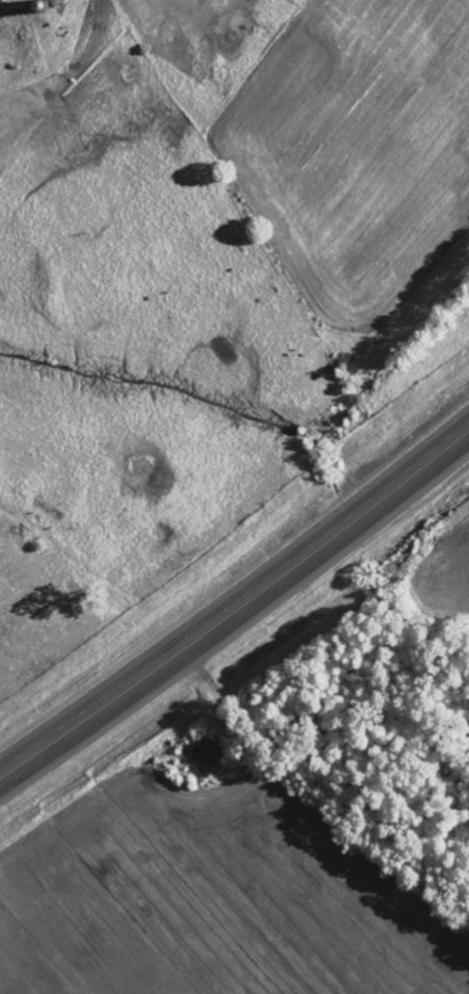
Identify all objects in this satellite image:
building: (59, 2)
road: (238, 611)

